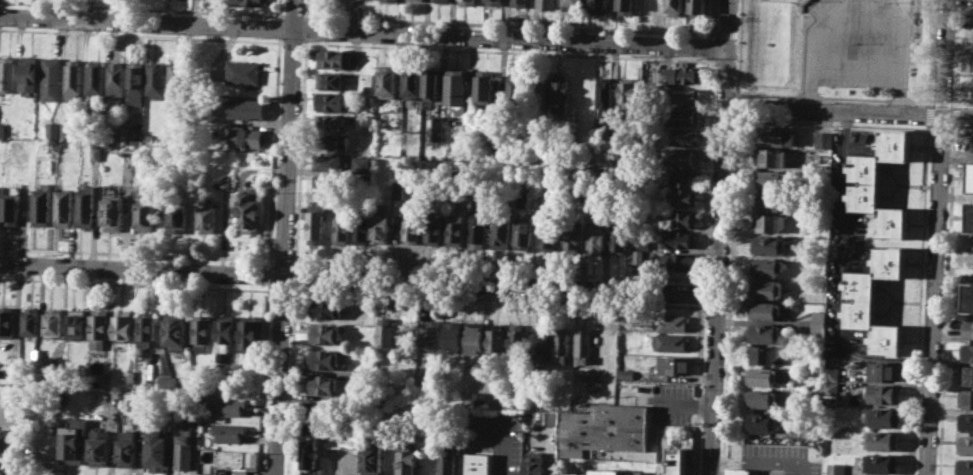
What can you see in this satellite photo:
building: (393, 0)
building: (419, 0)
building: (443, 0)
building: (469, 1)
building: (248, 2)
building: (495, 2)
building: (522, 2)
building: (548, 4)
building: (574, 4)
building: (601, 4)
building: (627, 6)
building: (652, 7)
building: (676, 7)
building: (697, 7)
road: (142, 8)
road: (308, 9)
road: (294, 15)
road: (524, 23)
road: (307, 28)
road: (363, 31)
parking lot: (857, 43)
road: (810, 47)
road: (899, 56)
building: (334, 58)
building: (244, 72)
building: (6, 73)
building: (27, 73)
building: (681, 75)
building: (93, 76)
building: (113, 77)
building: (134, 77)
building: (50, 78)
building: (71, 79)
building: (154, 79)
building: (174, 79)
building: (332, 80)
building: (387, 81)
building: (412, 81)
building: (432, 83)
building: (485, 86)
building: (516, 88)
building: (457, 90)
building: (541, 90)
building: (972, 90)
building: (628, 91)
building: (562, 94)
road: (789, 94)
building: (685, 95)
building: (605, 97)
building: (331, 101)
road: (929, 102)
road: (962, 103)
building: (245, 108)
road: (848, 110)
building: (683, 116)
building: (330, 122)
building: (439, 127)
building: (0, 129)
building: (50, 130)
building: (65, 130)
road: (941, 130)
building: (120, 132)
building: (134, 132)
building: (775, 135)
building: (680, 136)
building: (245, 137)
building: (822, 138)
building: (335, 141)
building: (972, 142)
building: (97, 152)
road: (302, 152)
building: (682, 157)
building: (771, 157)
building: (332, 162)
building: (363, 165)
building: (820, 171)
building: (970, 176)
building: (683, 177)
building: (771, 179)
building: (225, 181)
building: (320, 182)
building: (879, 185)
building: (521, 196)
building: (683, 197)
road: (735, 200)
building: (768, 201)
building: (42, 206)
building: (86, 206)
building: (63, 207)
building: (10, 208)
building: (247, 212)
building: (113, 213)
building: (146, 215)
building: (969, 217)
building: (178, 218)
building: (207, 218)
building: (684, 219)
building: (383, 221)
building: (769, 222)
building: (316, 224)
building: (342, 227)
building: (362, 227)
building: (455, 229)
building: (478, 229)
building: (433, 230)
building: (405, 231)
building: (501, 232)
building: (524, 233)
building: (548, 233)
road: (285, 237)
building: (572, 237)
road: (720, 237)
road: (936, 237)
building: (597, 239)
building: (619, 239)
building: (680, 239)
building: (642, 244)
building: (768, 244)
road: (126, 253)
building: (638, 257)
building: (677, 261)
building: (765, 267)
road: (296, 276)
road: (358, 278)
building: (763, 289)
road: (434, 296)
building: (968, 297)
road: (920, 300)
building: (874, 301)
road: (946, 301)
building: (326, 309)
building: (764, 309)
building: (817, 312)
building: (31, 321)
building: (7, 322)
building: (55, 322)
building: (78, 323)
building: (672, 323)
building: (816, 325)
building: (101, 327)
building: (123, 328)
building: (967, 328)
building: (148, 329)
building: (175, 332)
building: (203, 332)
building: (225, 332)
building: (250, 332)
building: (326, 333)
building: (765, 333)
building: (386, 334)
building: (452, 336)
building: (430, 337)
building: (474, 338)
building: (496, 339)
building: (517, 339)
building: (671, 341)
building: (540, 343)
building: (561, 345)
building: (584, 346)
building: (966, 352)
building: (761, 354)
building: (326, 359)
building: (674, 365)
building: (55, 368)
building: (885, 371)
building: (368, 372)
building: (626, 373)
building: (830, 373)
building: (108, 374)
building: (966, 374)
building: (763, 376)
building: (131, 377)
building: (595, 378)
road: (292, 380)
building: (167, 382)
building: (328, 384)
building: (830, 389)
building: (884, 394)
building: (60, 397)
building: (477, 397)
building: (760, 397)
building: (966, 398)
parking lot: (660, 400)
building: (227, 405)
building: (883, 416)
building: (550, 419)
building: (965, 421)
building: (759, 422)
building: (604, 428)
building: (812, 430)
building: (230, 431)
building: (881, 440)
building: (73, 441)
building: (830, 443)
building: (965, 444)
building: (127, 445)
building: (6, 446)
building: (99, 447)
building: (157, 449)
building: (184, 449)
building: (310, 449)
building: (449, 455)
building: (372, 459)
building: (237, 460)
building: (677, 461)
building: (409, 462)
building: (880, 463)
building: (476, 464)
building: (536, 465)
building: (964, 466)
building: (835, 468)
building: (599, 471)
building: (737, 471)
building: (613, 472)
building: (569, 473)

